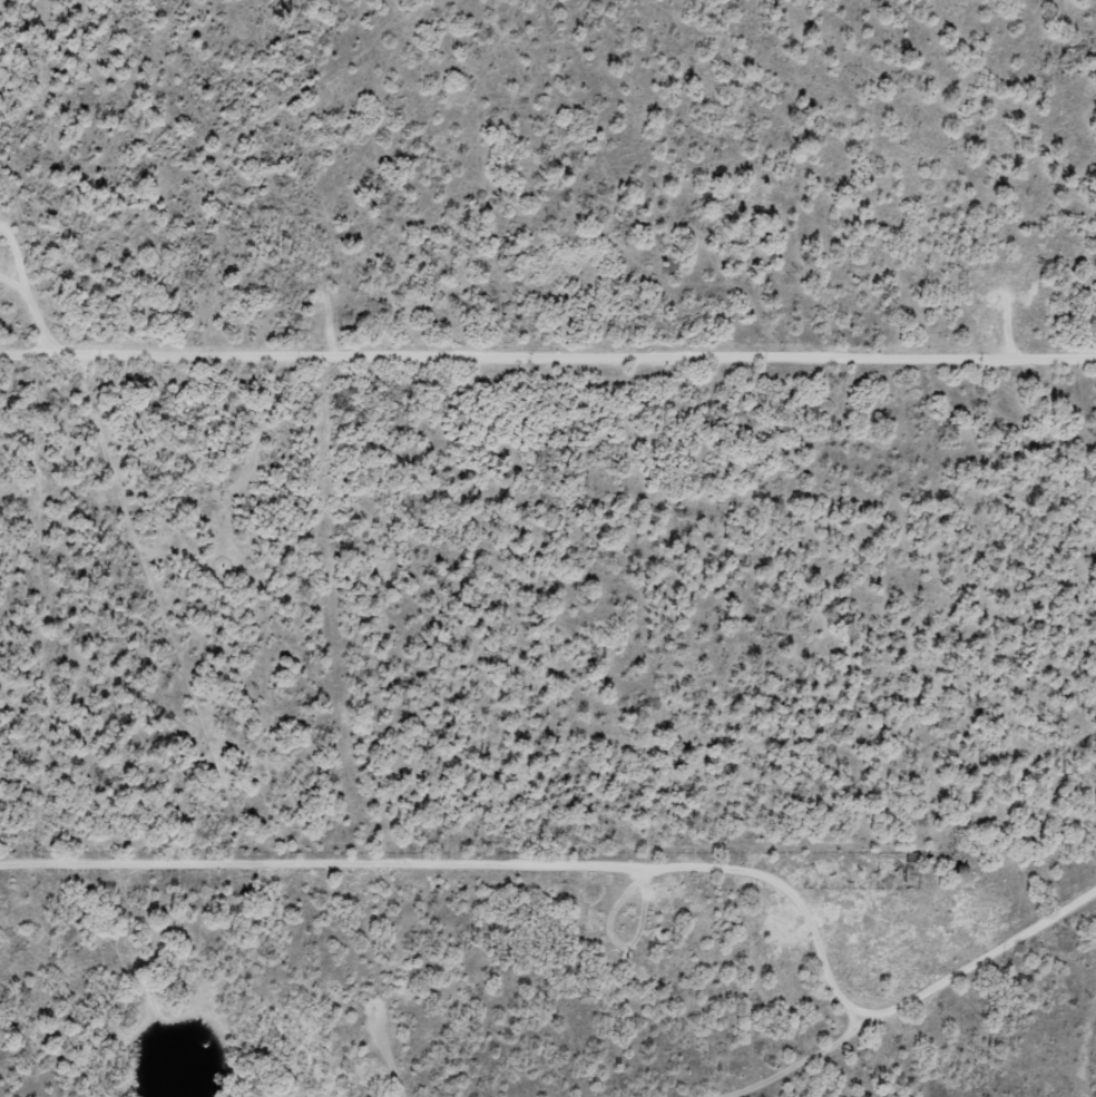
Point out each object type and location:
road: (548, 362)
road: (885, 1038)
road: (1080, 1052)

